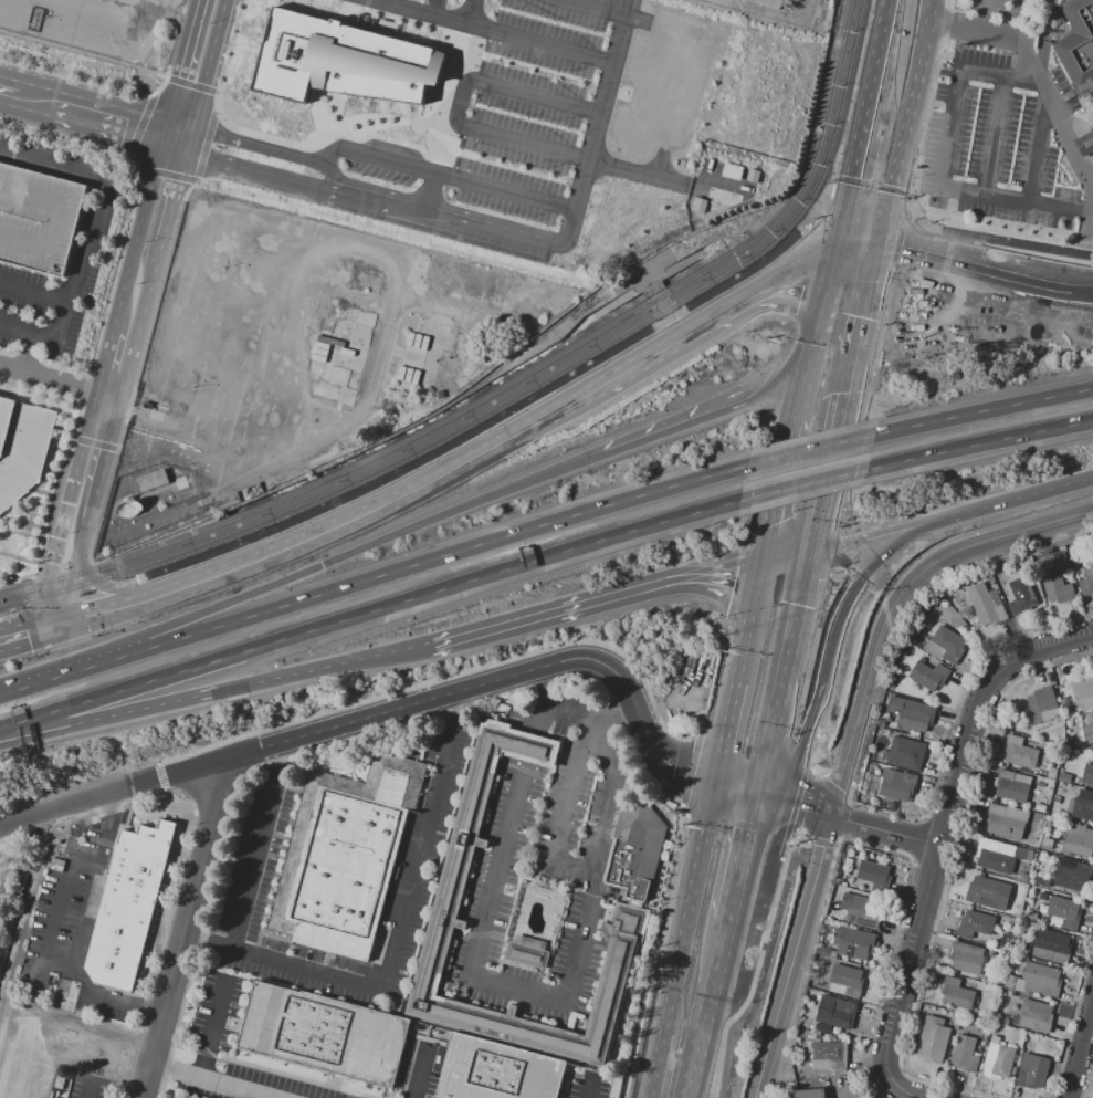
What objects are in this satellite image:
road: (392, 1)
building: (767, 2)
road: (365, 3)
road: (946, 3)
road: (434, 7)
road: (364, 8)
road: (812, 8)
road: (311, 12)
road: (339, 12)
road: (612, 12)
road: (434, 14)
road: (979, 14)
road: (887, 18)
road: (1021, 18)
road: (400, 19)
road: (942, 28)
road: (673, 29)
road: (539, 42)
building: (1078, 45)
road: (882, 53)
road: (225, 59)
building: (350, 61)
road: (522, 63)
road: (209, 64)
road: (1038, 65)
road: (166, 76)
road: (78, 81)
road: (161, 83)
road: (190, 83)
road: (216, 91)
road: (851, 93)
road: (150, 94)
road: (443, 96)
parking lot: (556, 100)
road: (459, 102)
road: (82, 111)
road: (214, 113)
road: (139, 124)
road: (921, 124)
road: (906, 125)
road: (325, 132)
road: (996, 136)
road: (70, 137)
road: (390, 139)
parking lot: (1000, 139)
road: (188, 142)
building: (1084, 143)
road: (175, 144)
road: (203, 146)
road: (260, 146)
road: (1040, 147)
road: (128, 151)
parking lot: (50, 159)
road: (859, 161)
road: (945, 161)
road: (504, 165)
road: (140, 168)
road: (167, 174)
road: (263, 175)
road: (445, 176)
road: (663, 178)
road: (195, 180)
road: (196, 180)
road: (427, 190)
road: (868, 192)
road: (172, 197)
road: (907, 201)
road: (880, 202)
road: (912, 207)
road: (1092, 209)
road: (1092, 213)
road: (912, 217)
building: (38, 220)
parking lot: (38, 220)
road: (1090, 223)
road: (96, 237)
road: (565, 238)
road: (1011, 240)
road: (903, 247)
road: (860, 251)
traffic signals: (882, 251)
traffic signals: (838, 252)
road: (115, 269)
road: (781, 269)
road: (986, 278)
road: (874, 286)
road: (891, 292)
road: (33, 293)
road: (120, 297)
road: (656, 301)
road: (770, 304)
parking lot: (43, 309)
road: (822, 316)
road: (697, 318)
road: (139, 320)
traffic signals: (869, 323)
road: (875, 352)
road: (7, 353)
road: (25, 354)
road: (25, 358)
road: (626, 360)
road: (63, 368)
road: (59, 383)
road: (7, 384)
railway: (511, 387)
road: (84, 388)
road: (616, 391)
railway: (518, 396)
road: (984, 411)
road: (702, 417)
road: (486, 421)
road: (794, 427)
road: (842, 435)
road: (486, 443)
road: (980, 445)
building: (21, 448)
parking lot: (21, 448)
road: (23, 450)
road: (812, 450)
road: (103, 459)
road: (854, 461)
building: (151, 480)
road: (51, 483)
road: (807, 484)
road: (1028, 493)
road: (788, 516)
road: (774, 526)
road: (328, 527)
road: (890, 530)
road: (83, 534)
road: (362, 547)
traffic signals: (817, 547)
road: (837, 547)
building: (1055, 551)
road: (882, 552)
road: (439, 555)
road: (944, 555)
road: (789, 563)
building: (989, 575)
road: (18, 576)
road: (210, 576)
road: (711, 577)
building: (1085, 577)
building: (1054, 578)
traffic signals: (763, 579)
building: (990, 582)
road: (67, 586)
road: (104, 587)
building: (1021, 596)
road: (712, 602)
building: (986, 604)
road: (104, 611)
road: (371, 611)
road: (39, 614)
road: (548, 614)
building: (945, 620)
traffic signals: (59, 624)
road: (46, 627)
traffic signals: (35, 630)
road: (749, 630)
road: (18, 635)
building: (945, 646)
road: (811, 648)
road: (398, 651)
road: (787, 672)
road: (64, 673)
road: (448, 675)
building: (928, 676)
building: (1083, 692)
building: (1064, 699)
road: (180, 700)
building: (1042, 704)
building: (1066, 712)
building: (910, 714)
road: (611, 715)
road: (639, 715)
building: (1092, 717)
road: (809, 720)
road: (858, 722)
building: (881, 723)
road: (319, 730)
building: (1069, 731)
road: (805, 732)
building: (1087, 733)
road: (728, 734)
building: (1069, 741)
traffic signals: (727, 742)
building: (529, 749)
building: (1020, 751)
building: (903, 753)
road: (659, 755)
road: (811, 759)
road: (689, 767)
building: (879, 768)
building: (1052, 772)
building: (1087, 774)
road: (159, 775)
road: (695, 777)
road: (837, 777)
building: (1064, 777)
building: (1010, 785)
building: (895, 786)
traffic signals: (718, 787)
road: (840, 788)
road: (165, 793)
road: (610, 793)
road: (738, 793)
traffic signals: (758, 798)
building: (1057, 799)
road: (802, 802)
building: (1081, 805)
building: (891, 806)
road: (107, 807)
road: (795, 807)
building: (1039, 808)
road: (682, 809)
road: (944, 819)
building: (1005, 822)
road: (736, 828)
road: (885, 829)
building: (466, 830)
road: (710, 833)
building: (1078, 839)
road: (820, 841)
building: (1034, 843)
building: (1047, 844)
building: (999, 855)
building: (344, 857)
building: (635, 858)
road: (85, 862)
parking lot: (543, 868)
building: (873, 872)
building: (1072, 874)
building: (838, 881)
building: (1041, 881)
building: (843, 883)
building: (835, 888)
building: (984, 891)
road: (93, 895)
road: (174, 895)
road: (731, 901)
building: (128, 904)
road: (242, 910)
building: (1064, 910)
building: (860, 911)
building: (834, 917)
road: (403, 918)
road: (53, 919)
building: (975, 923)
road: (185, 927)
road: (892, 939)
building: (854, 942)
building: (1050, 945)
road: (683, 951)
building: (527, 956)
building: (966, 956)
road: (794, 958)
road: (757, 962)
road: (59, 964)
building: (847, 980)
building: (1033, 980)
road: (536, 993)
building: (956, 993)
road: (99, 996)
road: (149, 1011)
building: (835, 1012)
building: (1033, 1015)
building: (1013, 1021)
building: (1006, 1022)
building: (822, 1028)
building: (324, 1034)
building: (808, 1035)
building: (933, 1039)
road: (1080, 1047)
road: (697, 1052)
building: (965, 1053)
building: (829, 1056)
building: (997, 1060)
road: (658, 1062)
road: (419, 1070)
building: (1032, 1070)
building: (497, 1071)
road: (1086, 1076)
road: (214, 1079)
road: (589, 1088)
road: (88, 1090)
road: (906, 1091)
building: (809, 1094)

